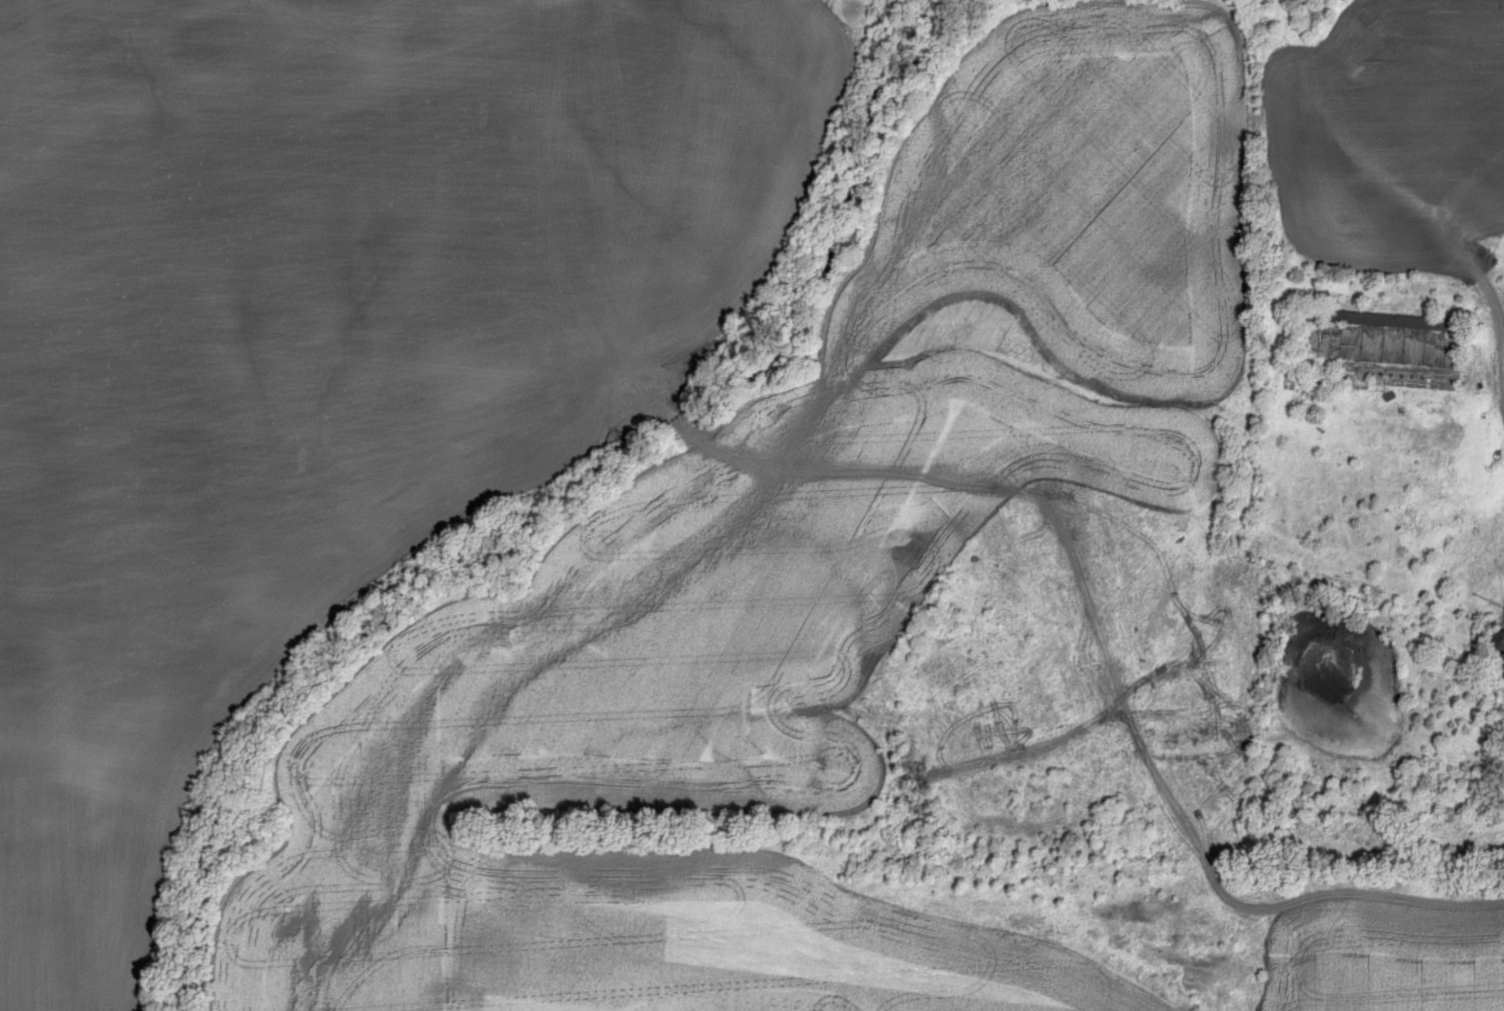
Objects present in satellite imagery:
road: (1487, 590)

